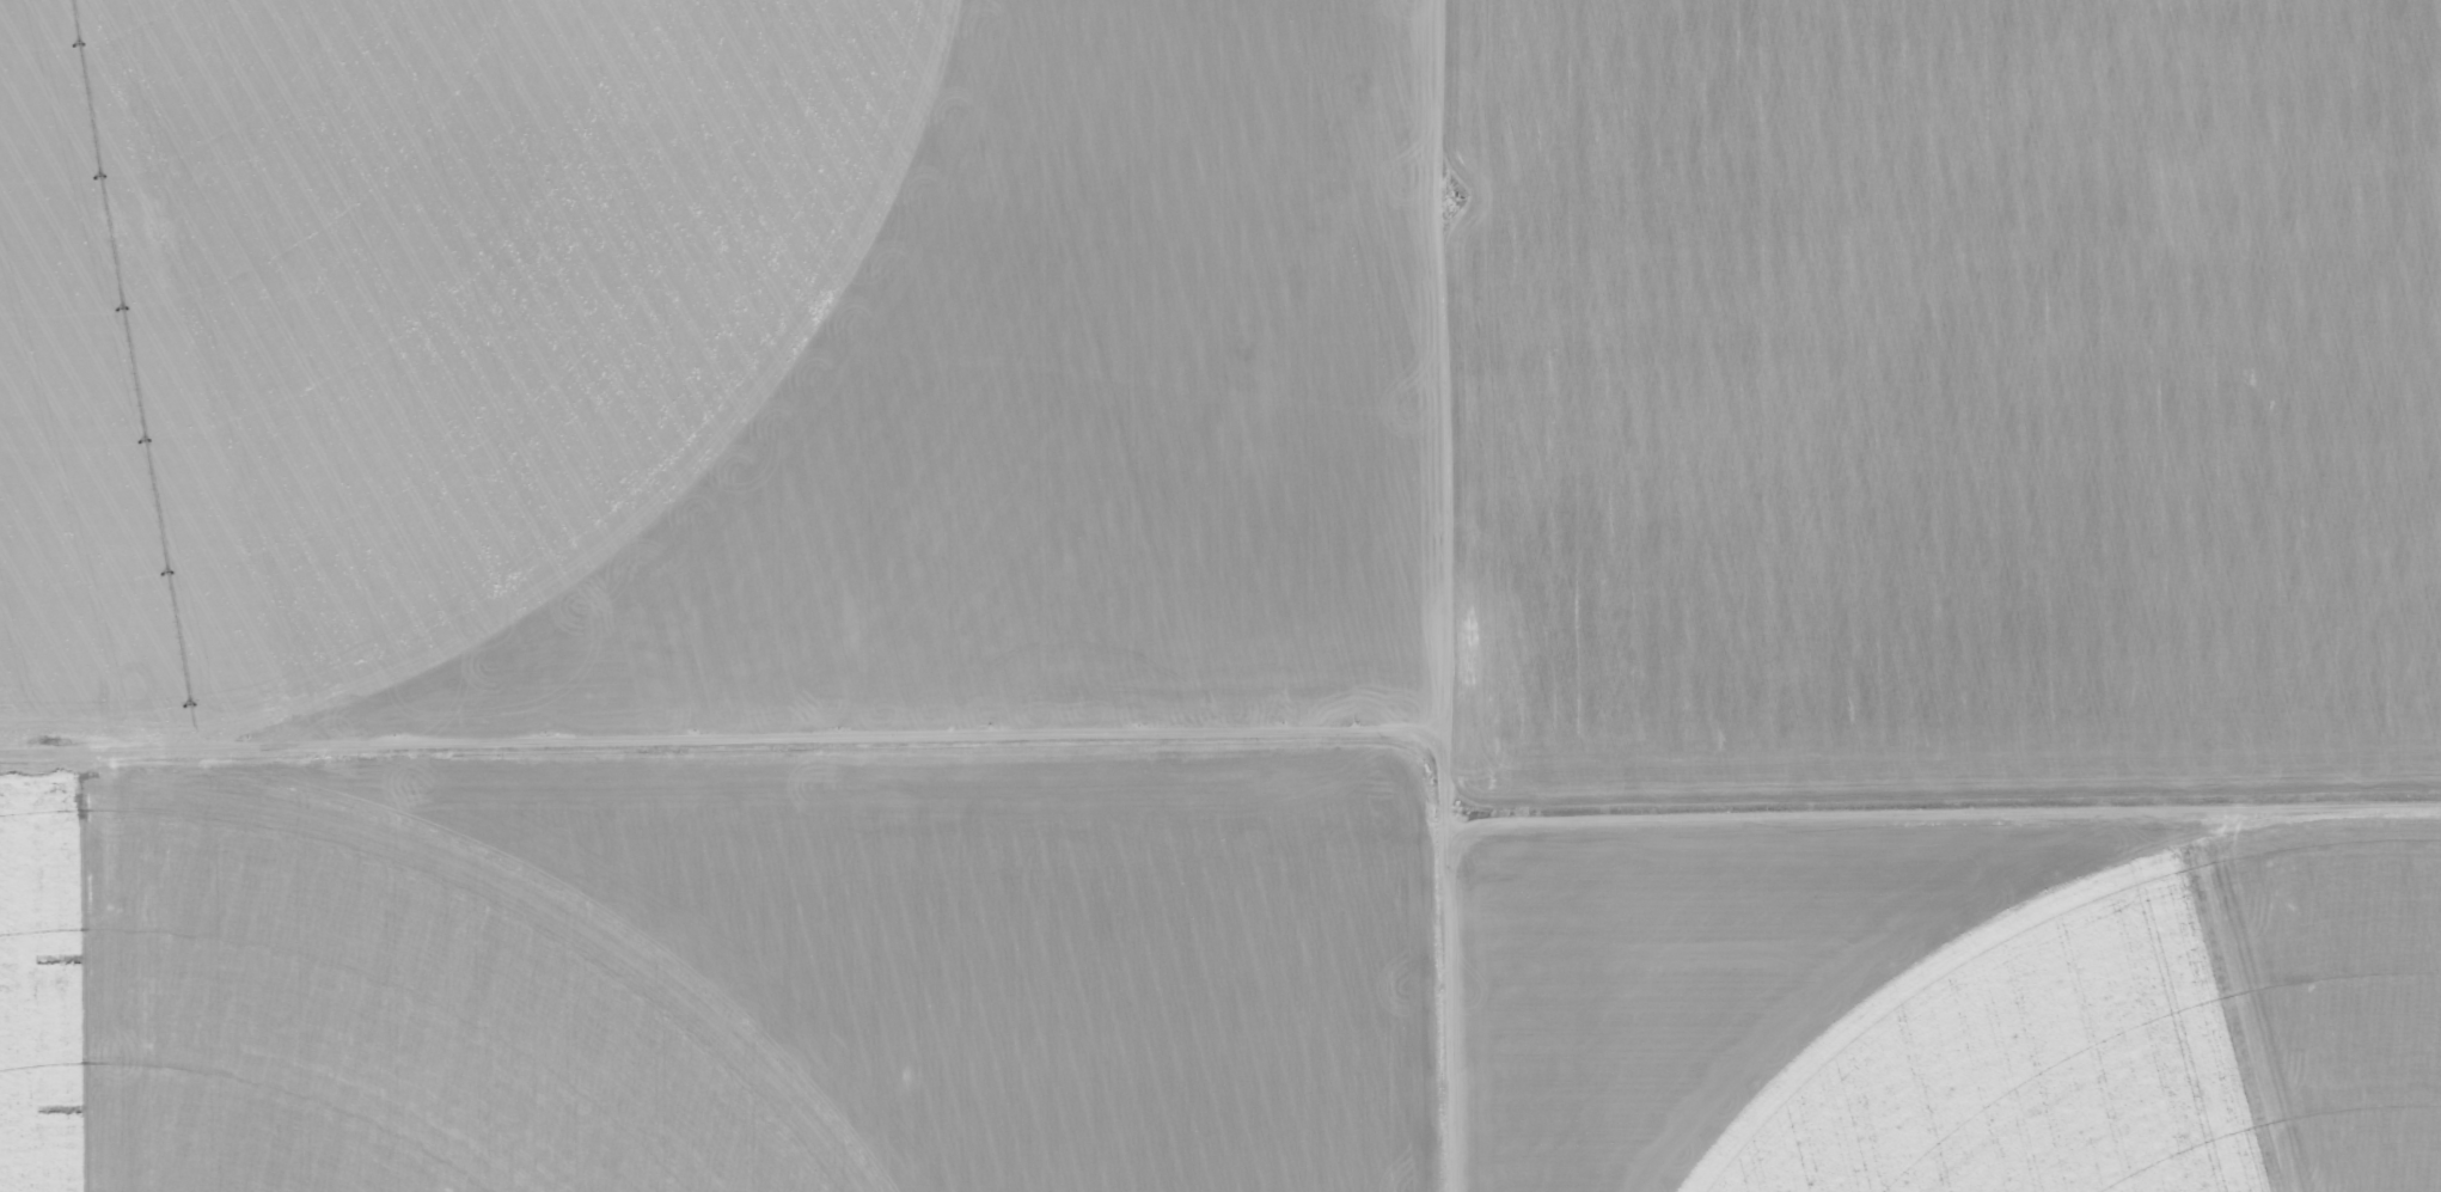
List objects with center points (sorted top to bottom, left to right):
road: (1425, 595)
road: (714, 753)

